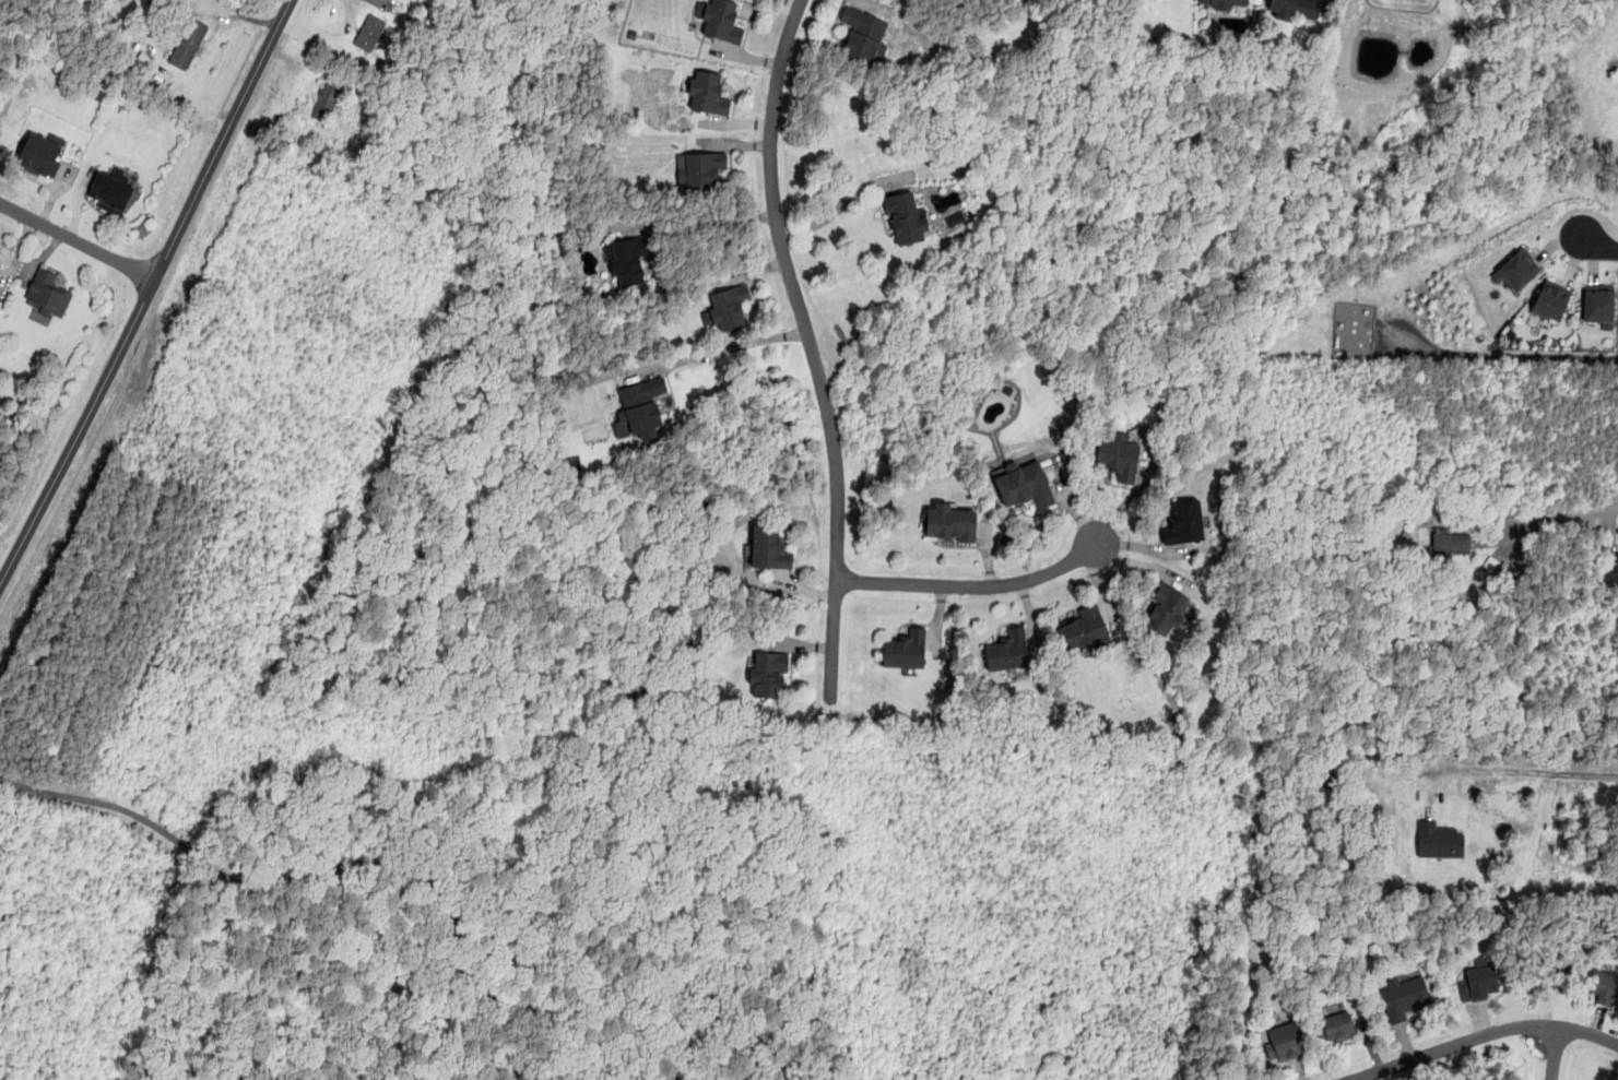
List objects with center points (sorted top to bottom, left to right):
building: (1224, 3)
building: (1294, 9)
building: (721, 21)
building: (369, 32)
building: (862, 34)
building: (188, 43)
building: (706, 92)
building: (323, 100)
building: (40, 154)
building: (699, 171)
building: (109, 190)
road: (835, 206)
building: (905, 218)
building: (955, 218)
road: (702, 223)
road: (76, 240)
road: (1598, 244)
building: (0, 248)
building: (626, 263)
building: (1515, 270)
road: (146, 292)
building: (47, 294)
building: (1549, 299)
building: (1598, 305)
building: (728, 306)
road: (740, 341)
road: (807, 343)
building: (641, 406)
building: (1118, 455)
building: (1024, 485)
road: (1567, 517)
building: (948, 522)
building: (1183, 522)
building: (1450, 541)
building: (768, 547)
building: (1616, 562)
road: (970, 585)
building: (1166, 609)
building: (1083, 628)
building: (904, 649)
building: (1007, 650)
building: (767, 674)
road: (1526, 772)
building: (1438, 840)
road: (435, 886)
building: (1478, 983)
building: (1603, 986)
building: (1403, 996)
building: (1333, 1026)
road: (1480, 1035)
building: (1284, 1042)
road: (1552, 1052)

